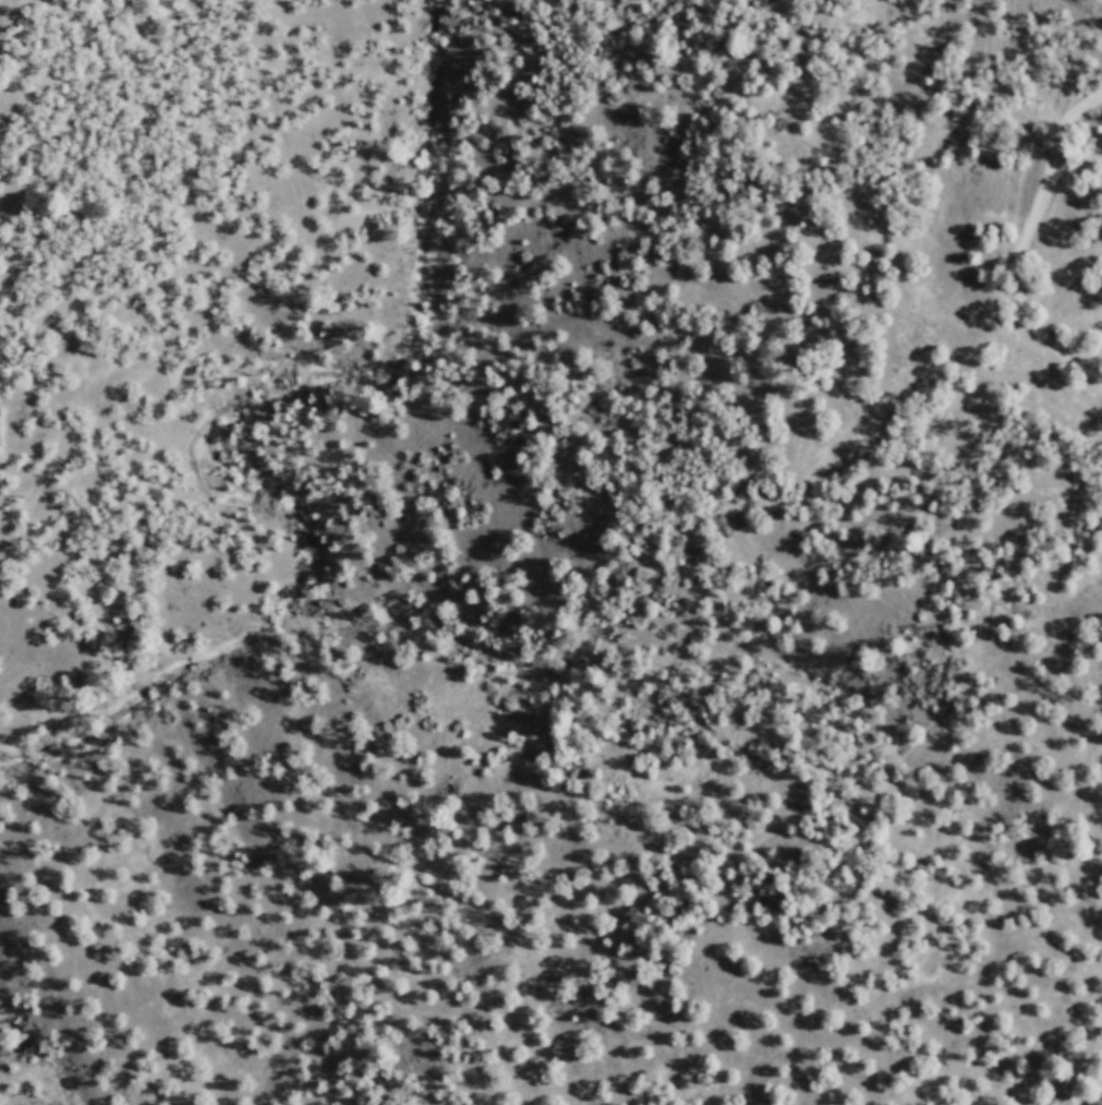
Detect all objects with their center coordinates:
road: (1020, 242)

